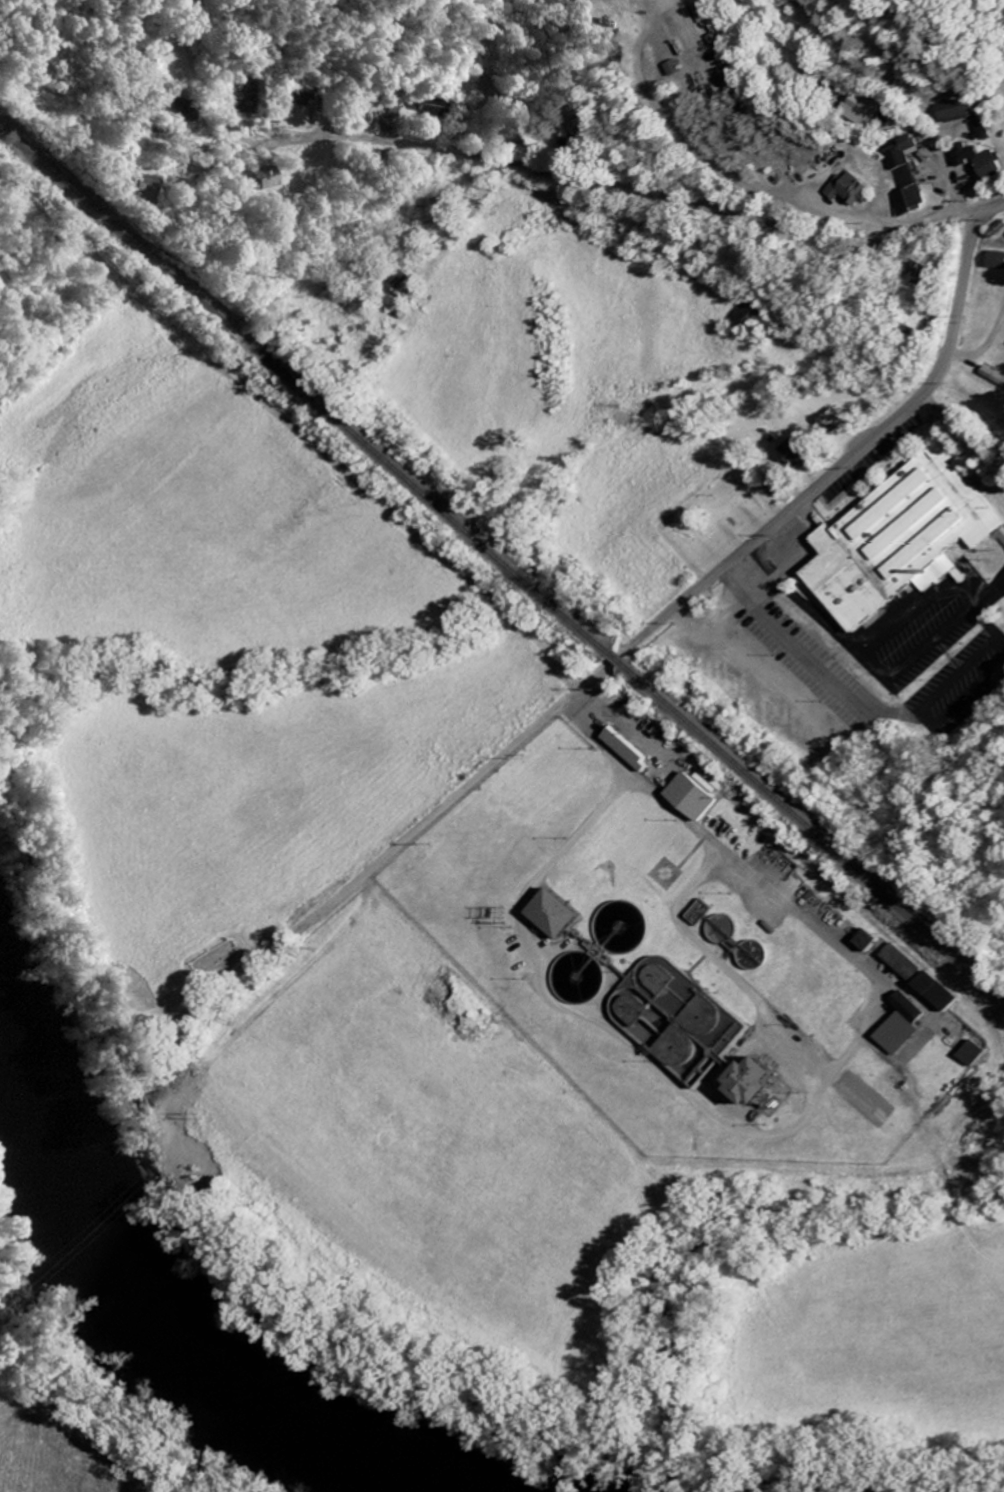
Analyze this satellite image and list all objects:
building: (705, 10)
building: (684, 70)
building: (248, 100)
road: (974, 103)
building: (180, 110)
building: (431, 110)
building: (963, 112)
building: (984, 163)
building: (910, 178)
building: (266, 180)
road: (622, 181)
building: (146, 190)
building: (857, 191)
building: (1000, 262)
building: (407, 287)
building: (748, 317)
building: (996, 375)
railway: (306, 388)
building: (837, 423)
building: (803, 452)
road: (843, 465)
building: (902, 541)
road: (964, 598)
road: (816, 614)
railway: (617, 657)
building: (631, 752)
building: (697, 798)
railway: (813, 826)
road: (699, 829)
building: (565, 915)
building: (871, 942)
wastewater plant: (682, 953)
building: (905, 963)
building: (942, 993)
building: (976, 1055)
building: (767, 1083)
river: (172, 1317)

